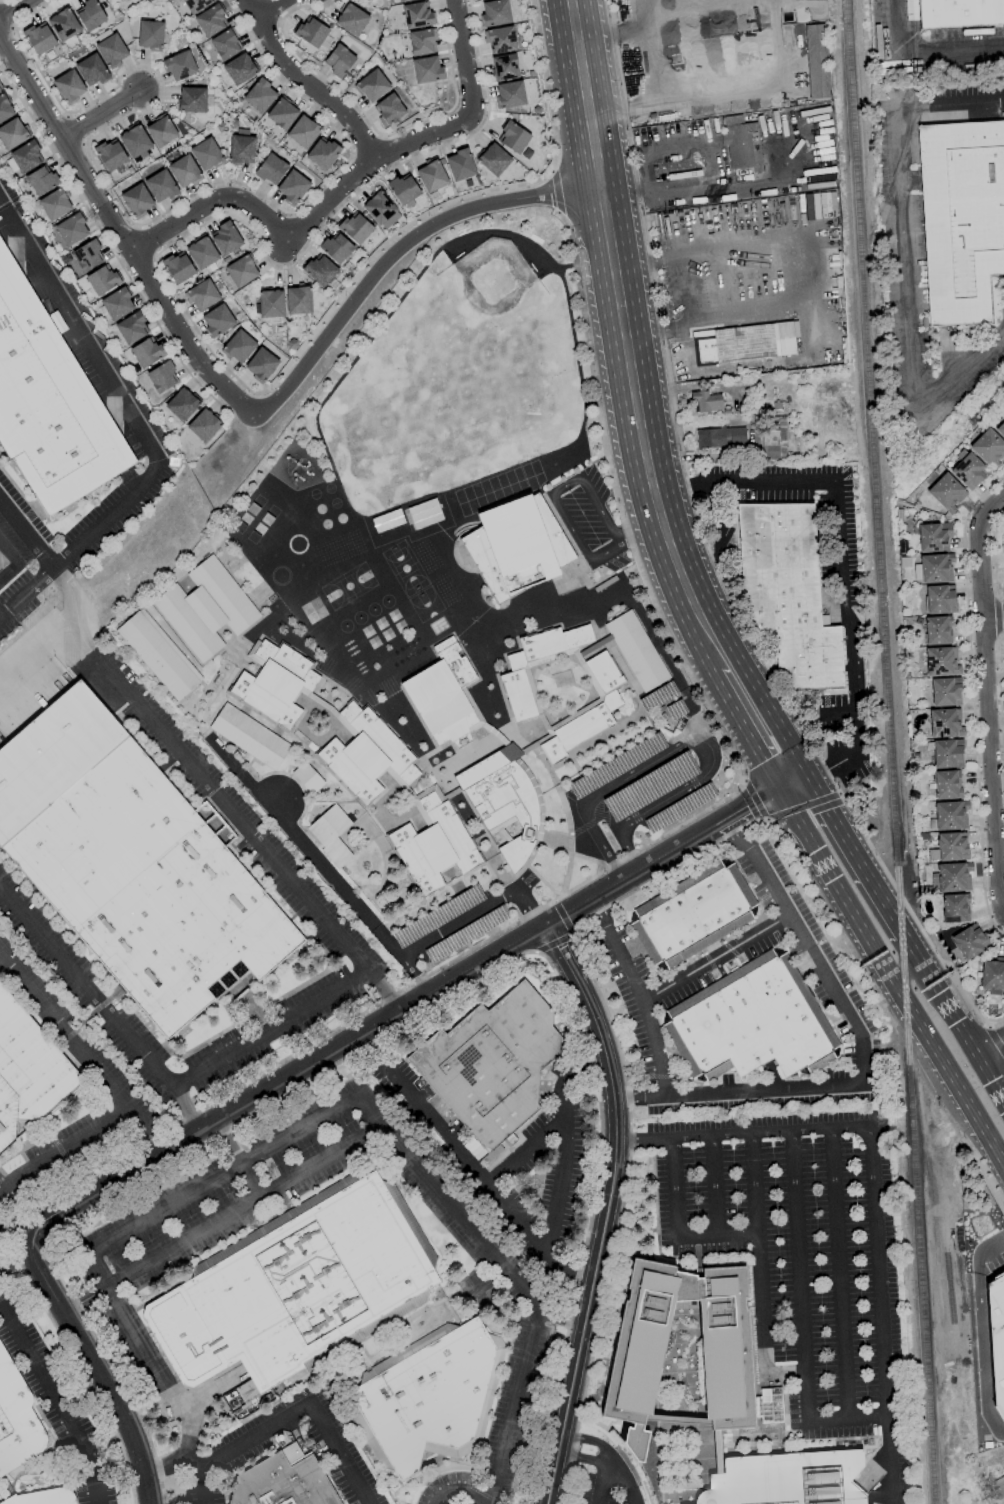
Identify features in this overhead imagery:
building: (406, 1)
building: (197, 5)
road: (13, 7)
road: (269, 8)
building: (496, 13)
building: (960, 13)
building: (90, 14)
building: (418, 15)
road: (635, 15)
building: (211, 20)
building: (352, 20)
building: (65, 24)
building: (312, 33)
building: (150, 34)
building: (39, 37)
road: (603, 37)
building: (501, 40)
building: (423, 42)
building: (226, 43)
road: (927, 49)
building: (113, 51)
building: (340, 61)
building: (818, 61)
building: (180, 66)
building: (505, 68)
building: (92, 69)
building: (241, 69)
building: (428, 70)
building: (372, 85)
building: (70, 87)
road: (750, 87)
road: (584, 93)
building: (260, 95)
building: (510, 95)
building: (195, 99)
road: (615, 105)
building: (5, 108)
building: (389, 110)
road: (105, 111)
building: (283, 113)
road: (371, 124)
building: (162, 131)
building: (305, 131)
building: (13, 134)
road: (382, 136)
road: (42, 137)
building: (514, 137)
building: (136, 141)
building: (742, 144)
road: (367, 147)
building: (242, 150)
building: (324, 153)
building: (110, 154)
building: (207, 155)
road: (353, 155)
road: (381, 155)
building: (25, 158)
building: (494, 160)
building: (461, 165)
building: (271, 169)
building: (186, 171)
road: (552, 171)
building: (432, 176)
building: (42, 181)
building: (162, 186)
building: (293, 187)
building: (404, 189)
road: (714, 190)
road: (555, 191)
road: (355, 196)
building: (138, 200)
building: (55, 204)
building: (380, 207)
road: (557, 213)
road: (263, 217)
road: (130, 218)
building: (962, 218)
building: (356, 228)
building: (73, 229)
building: (227, 239)
building: (337, 248)
road: (380, 251)
building: (202, 253)
building: (88, 255)
building: (178, 268)
road: (900, 269)
building: (242, 270)
building: (320, 271)
building: (103, 280)
park: (493, 280)
road: (683, 289)
building: (202, 295)
building: (299, 299)
building: (118, 303)
building: (271, 303)
road: (150, 313)
building: (218, 320)
building: (133, 327)
building: (743, 343)
building: (239, 347)
building: (148, 352)
building: (262, 365)
road: (593, 373)
building: (163, 377)
road: (119, 395)
building: (705, 402)
building: (49, 404)
building: (183, 404)
road: (243, 405)
building: (205, 425)
building: (1001, 429)
road: (642, 432)
building: (720, 437)
building: (773, 438)
road: (680, 446)
building: (989, 448)
building: (969, 471)
road: (557, 488)
building: (947, 493)
building: (424, 514)
parking lot: (588, 519)
building: (387, 521)
road: (648, 532)
building: (934, 537)
building: (1003, 537)
road: (619, 543)
building: (516, 546)
road: (996, 558)
road: (841, 563)
park: (404, 568)
building: (934, 568)
park: (348, 585)
road: (26, 592)
building: (789, 593)
road: (72, 596)
building: (941, 599)
park: (425, 603)
building: (205, 609)
road: (995, 618)
building: (938, 630)
building: (254, 649)
building: (637, 651)
building: (159, 655)
building: (942, 661)
building: (515, 674)
building: (530, 682)
building: (276, 684)
building: (946, 692)
building: (446, 696)
building: (658, 697)
road: (1000, 697)
road: (973, 699)
road: (989, 699)
building: (676, 709)
building: (327, 710)
road: (753, 710)
building: (588, 711)
building: (946, 723)
building: (250, 737)
road: (680, 745)
railway: (890, 751)
building: (947, 753)
building: (367, 755)
building: (617, 766)
road: (786, 769)
building: (308, 778)
road: (744, 781)
traffic signals: (794, 784)
building: (948, 785)
parking lot: (642, 786)
building: (650, 787)
road: (839, 792)
building: (421, 794)
road: (756, 800)
building: (506, 801)
road: (752, 802)
road: (802, 806)
building: (680, 808)
road: (234, 816)
building: (950, 816)
road: (767, 819)
road: (831, 821)
building: (214, 823)
building: (332, 835)
road: (304, 845)
building: (434, 846)
building: (950, 847)
building: (132, 865)
road: (626, 875)
building: (952, 878)
road: (880, 900)
building: (956, 908)
road: (475, 912)
building: (693, 914)
building: (438, 917)
parking lot: (453, 925)
road: (572, 930)
building: (466, 933)
road: (553, 940)
building: (971, 941)
road: (933, 947)
road: (535, 950)
road: (715, 957)
building: (992, 972)
road: (415, 975)
road: (889, 977)
road: (595, 987)
road: (101, 1008)
road: (366, 1012)
road: (646, 1015)
road: (953, 1017)
road: (411, 1019)
building: (752, 1023)
road: (269, 1031)
road: (857, 1032)
road: (995, 1038)
road: (990, 1049)
building: (492, 1064)
building: (28, 1071)
road: (289, 1077)
road: (926, 1082)
road: (114, 1090)
road: (743, 1134)
road: (564, 1137)
road: (521, 1149)
road: (236, 1158)
road: (470, 1166)
road: (982, 1176)
road: (715, 1186)
road: (676, 1189)
road: (243, 1205)
road: (608, 1208)
road: (121, 1231)
road: (719, 1235)
road: (991, 1247)
road: (759, 1252)
road: (16, 1262)
road: (839, 1274)
road: (800, 1276)
road: (508, 1277)
building: (298, 1287)
road: (560, 1315)
road: (881, 1316)
building: (996, 1338)
road: (983, 1347)
building: (639, 1349)
building: (371, 1355)
road: (93, 1361)
road: (786, 1372)
building: (429, 1397)
road: (60, 1399)
road: (848, 1419)
building: (17, 1420)
road: (591, 1440)
road: (243, 1442)
building: (717, 1452)
road: (341, 1453)
road: (115, 1457)
road: (586, 1461)
road: (198, 1464)
road: (164, 1466)
road: (627, 1479)
building: (786, 1479)
building: (283, 1483)
road: (461, 1488)
building: (996, 1488)
building: (44, 1497)

